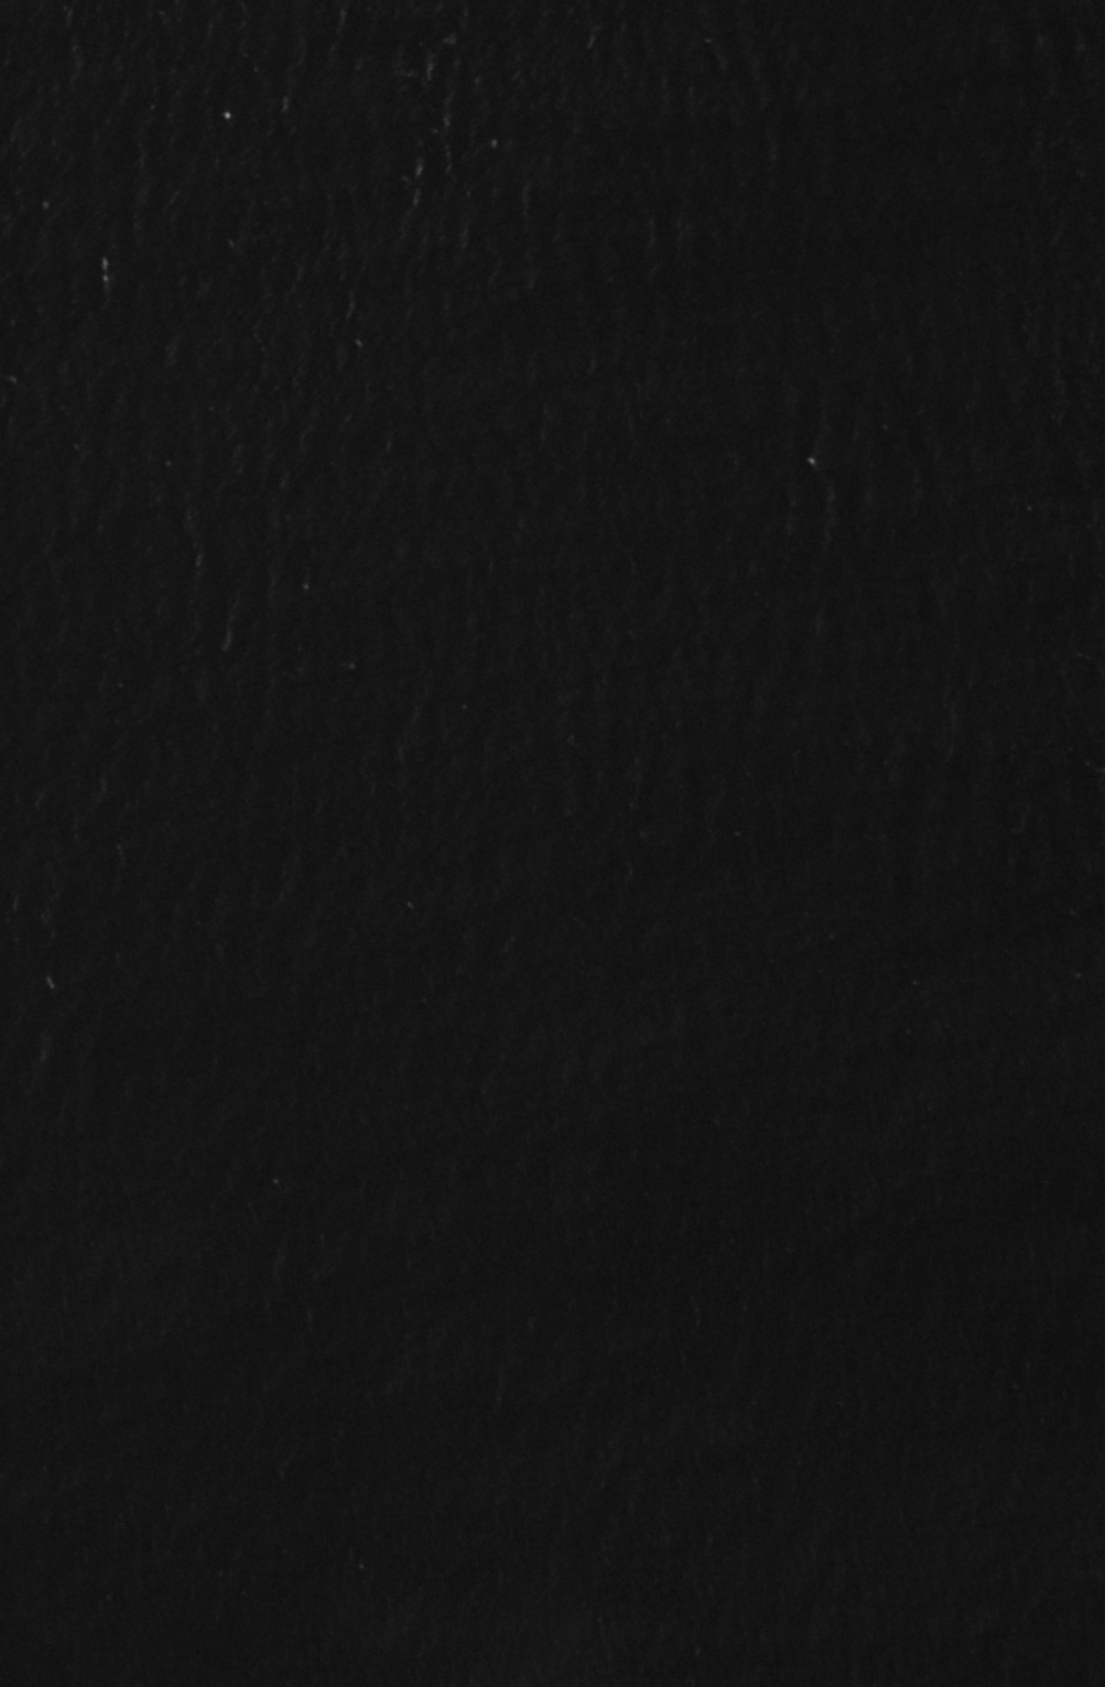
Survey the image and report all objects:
river: (576, 91)
river: (485, 412)
river: (565, 707)

